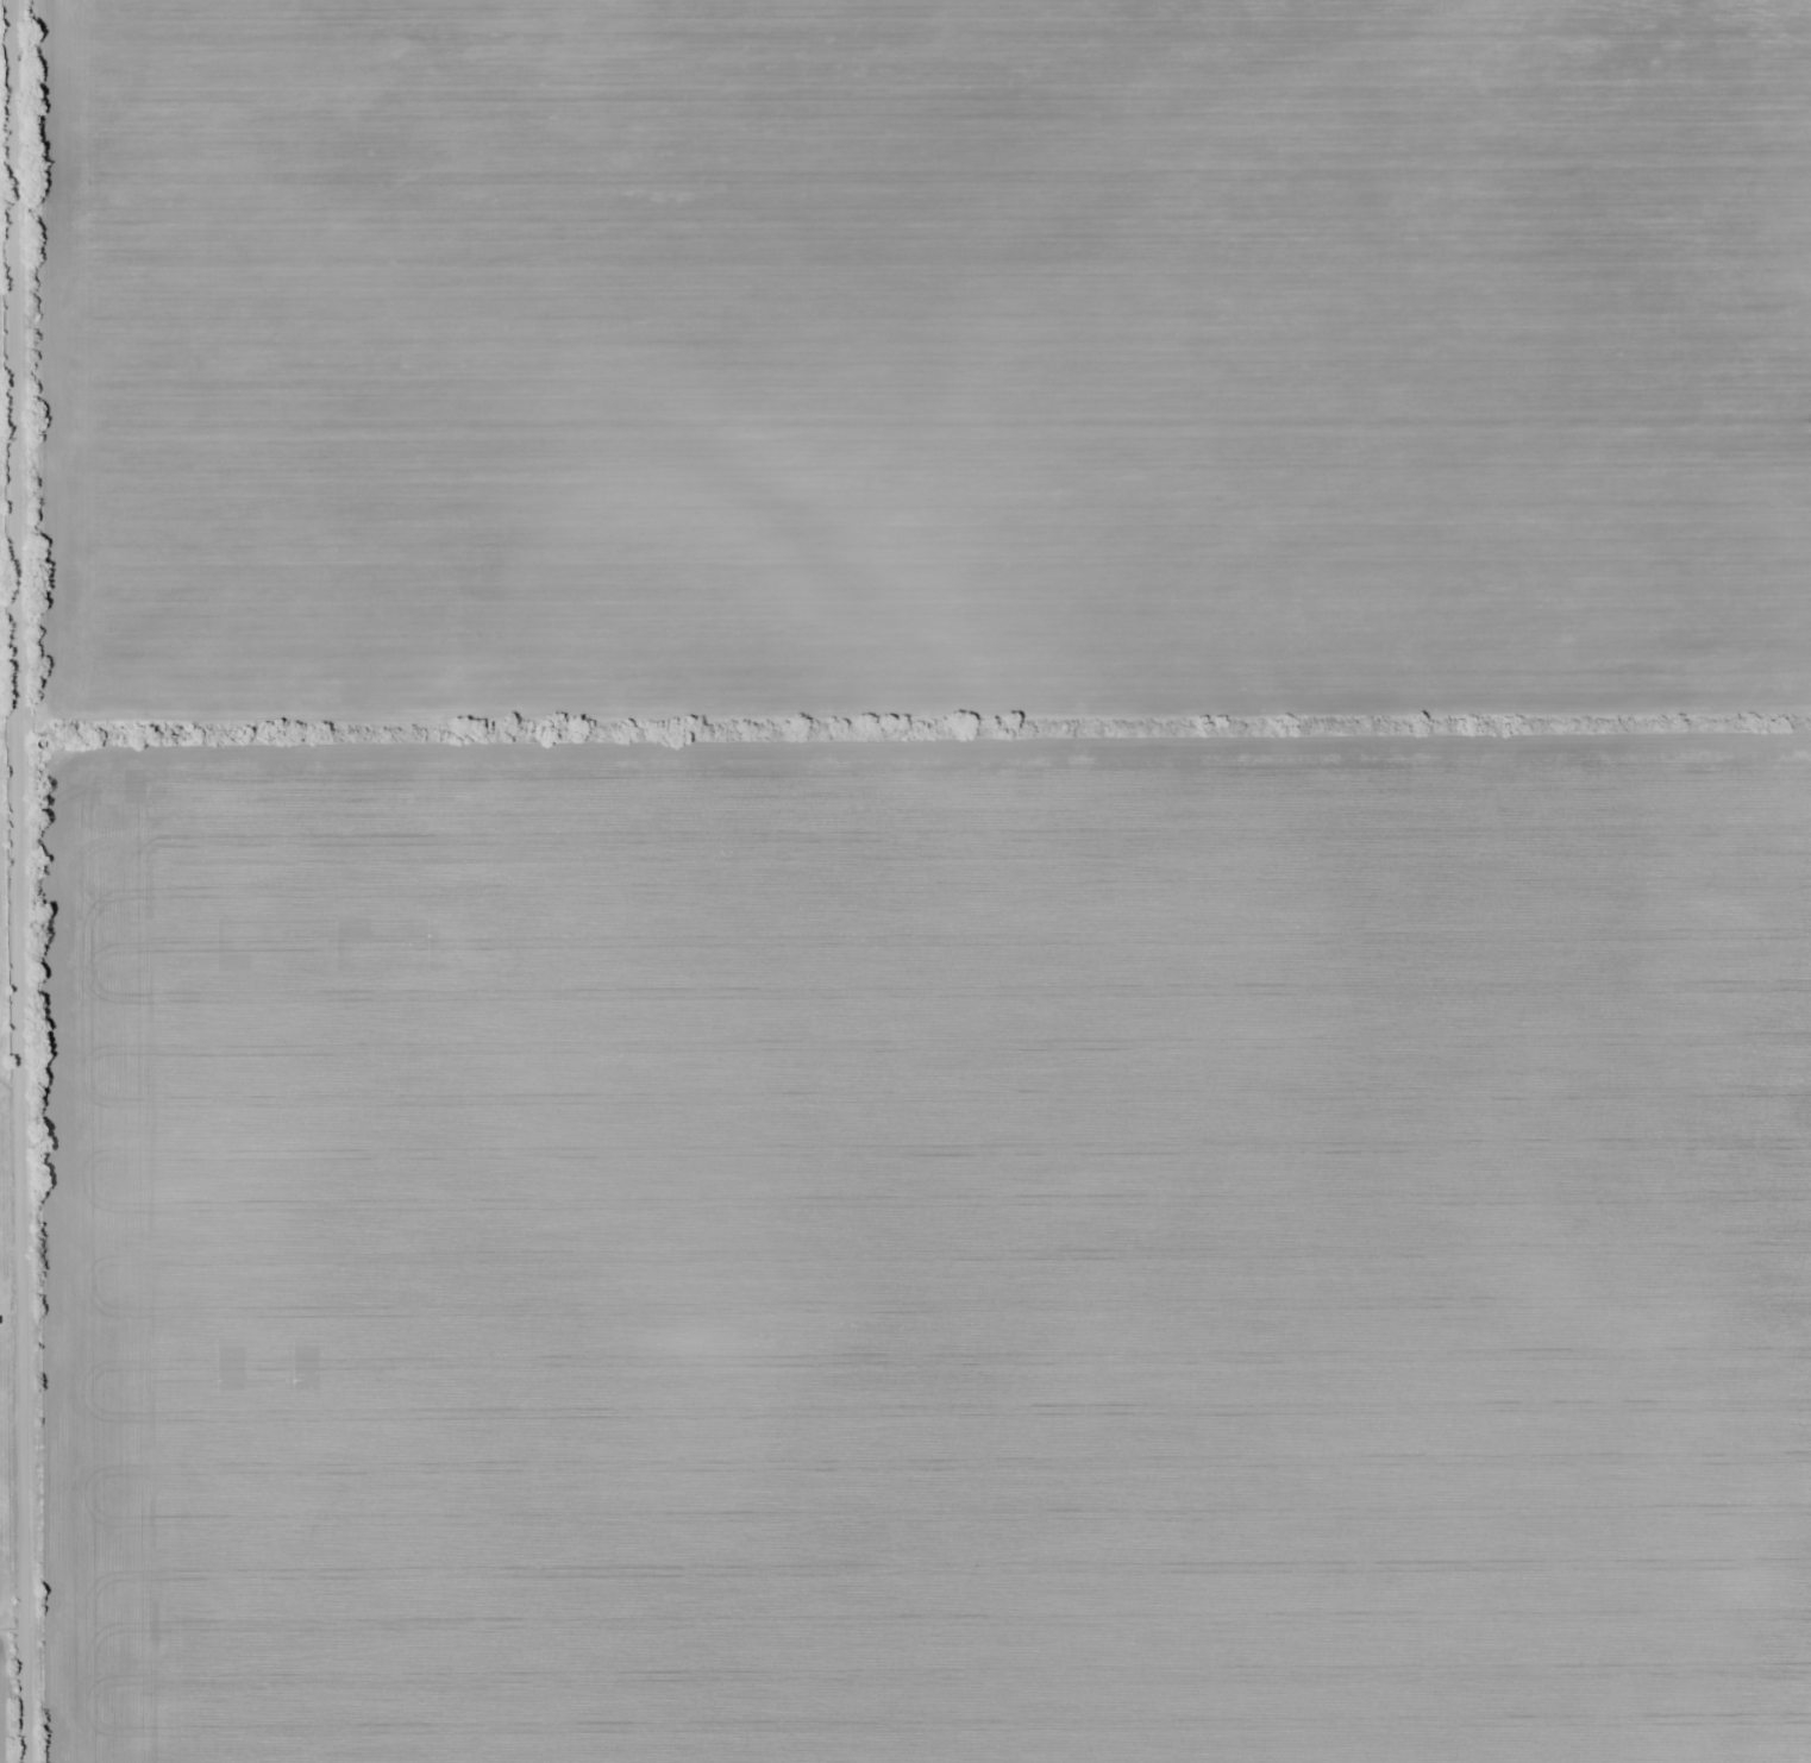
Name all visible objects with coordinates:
road: (15, 881)
airport: (5, 961)

